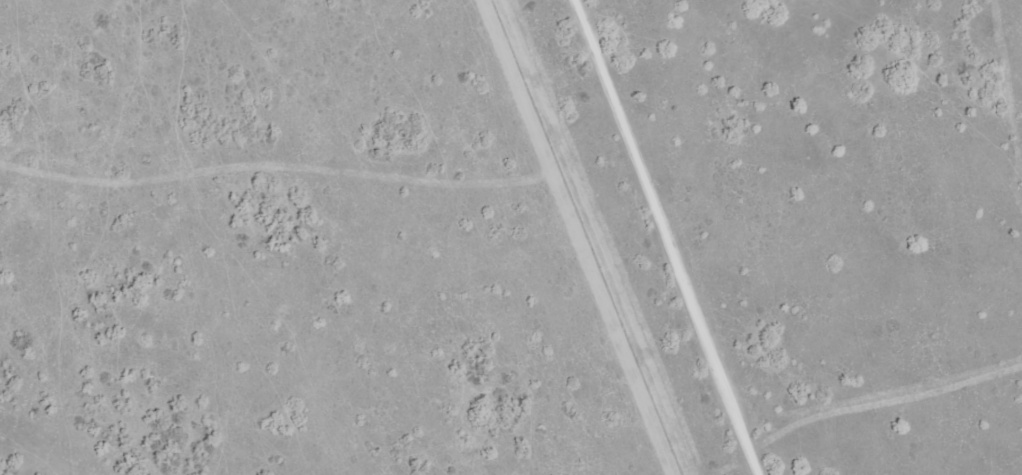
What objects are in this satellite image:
road: (671, 236)

